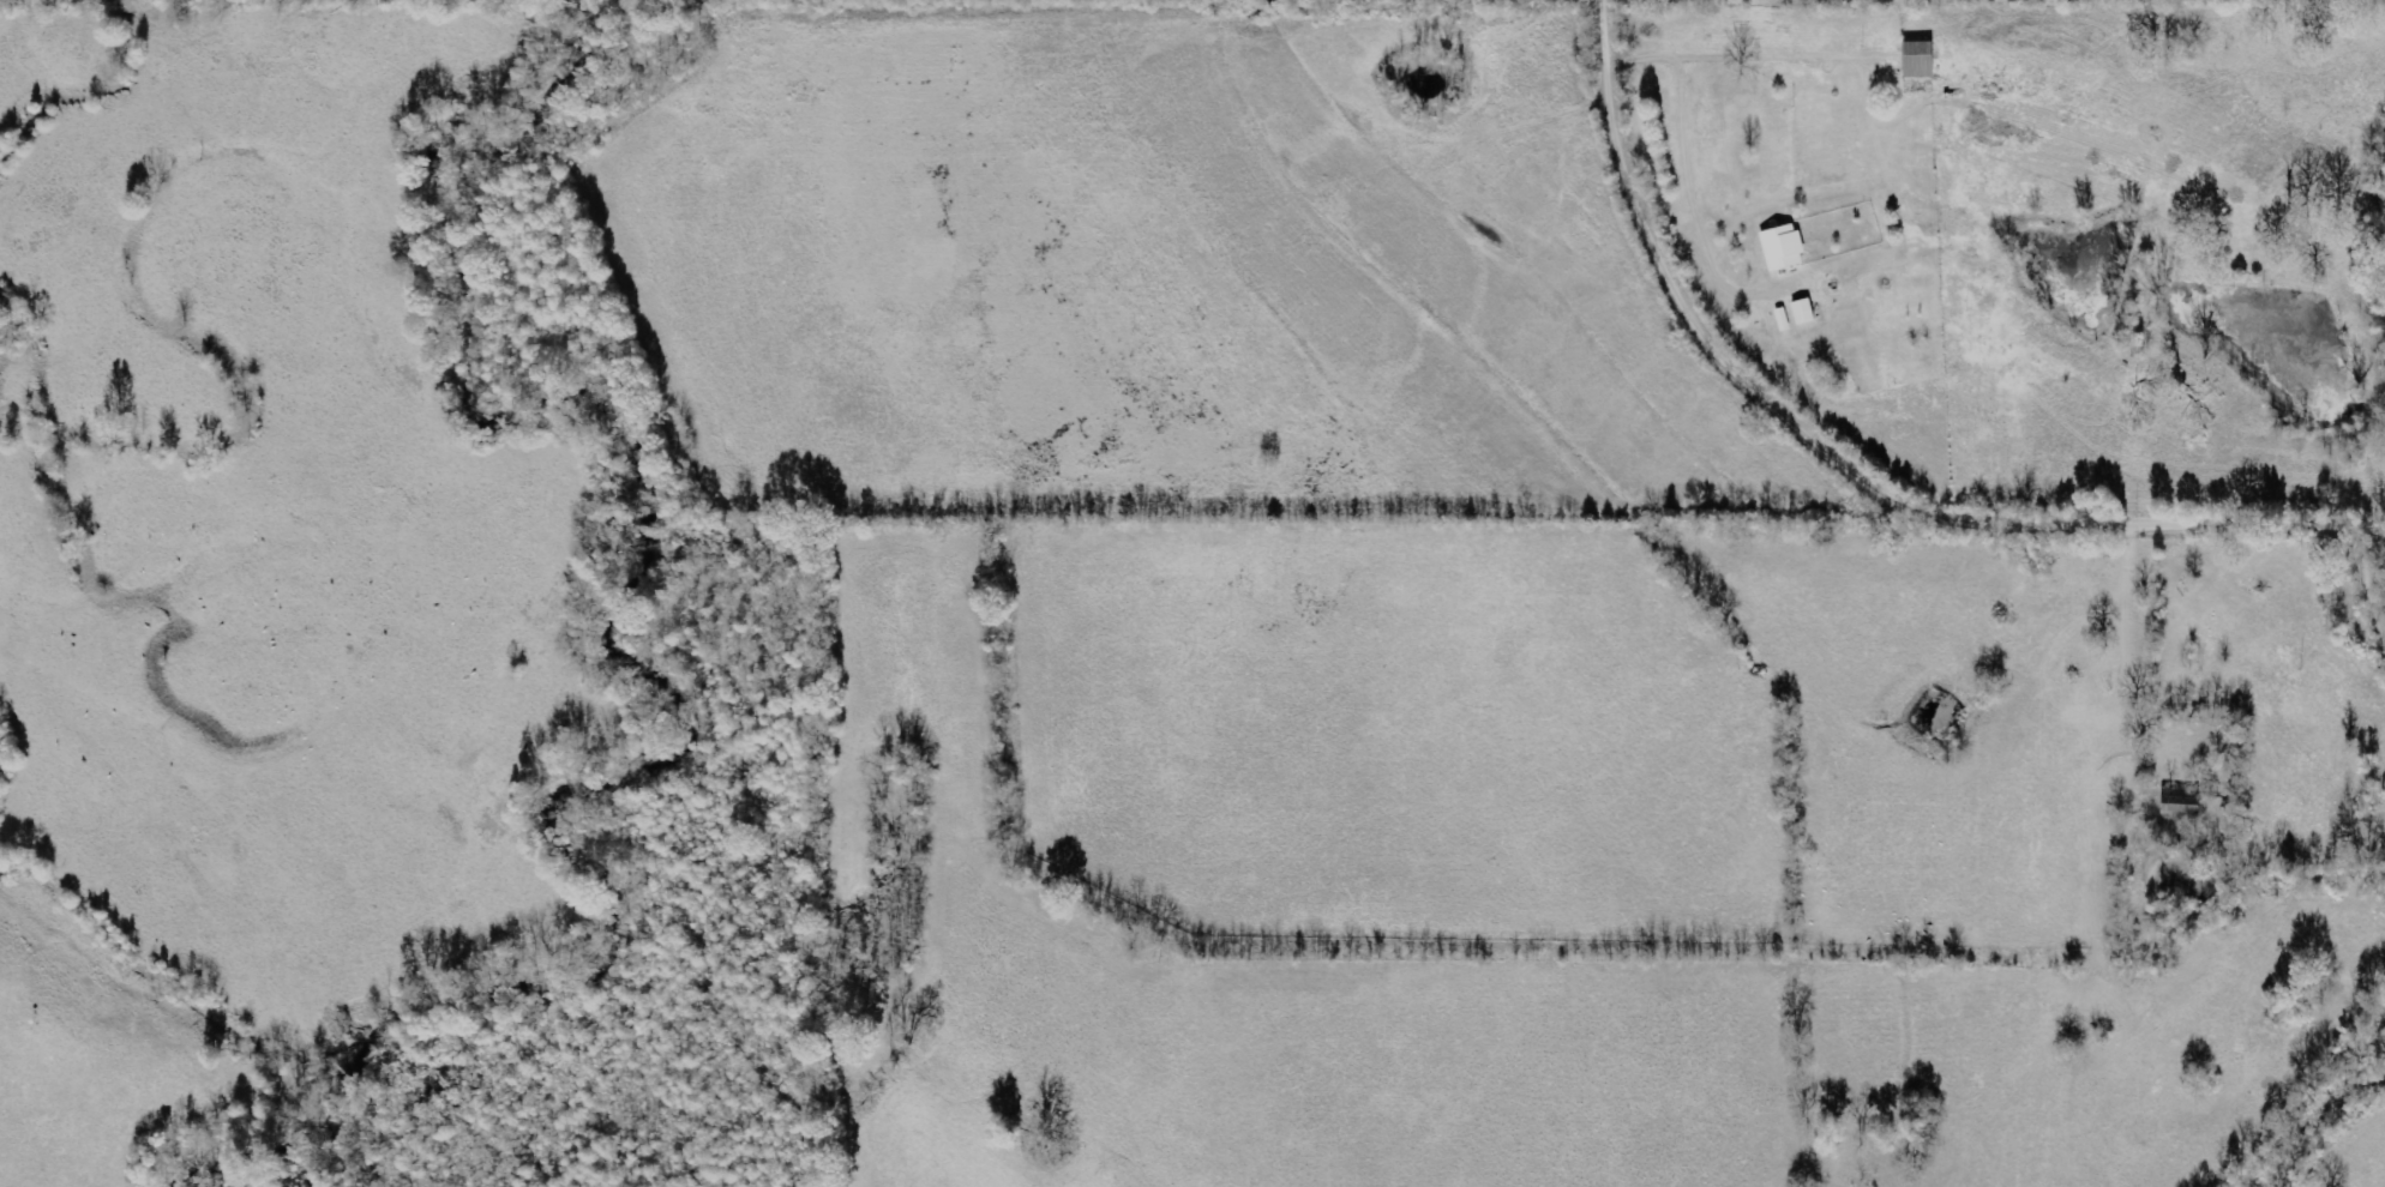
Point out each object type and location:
building: (1788, 248)
building: (1808, 312)
road: (1873, 486)

